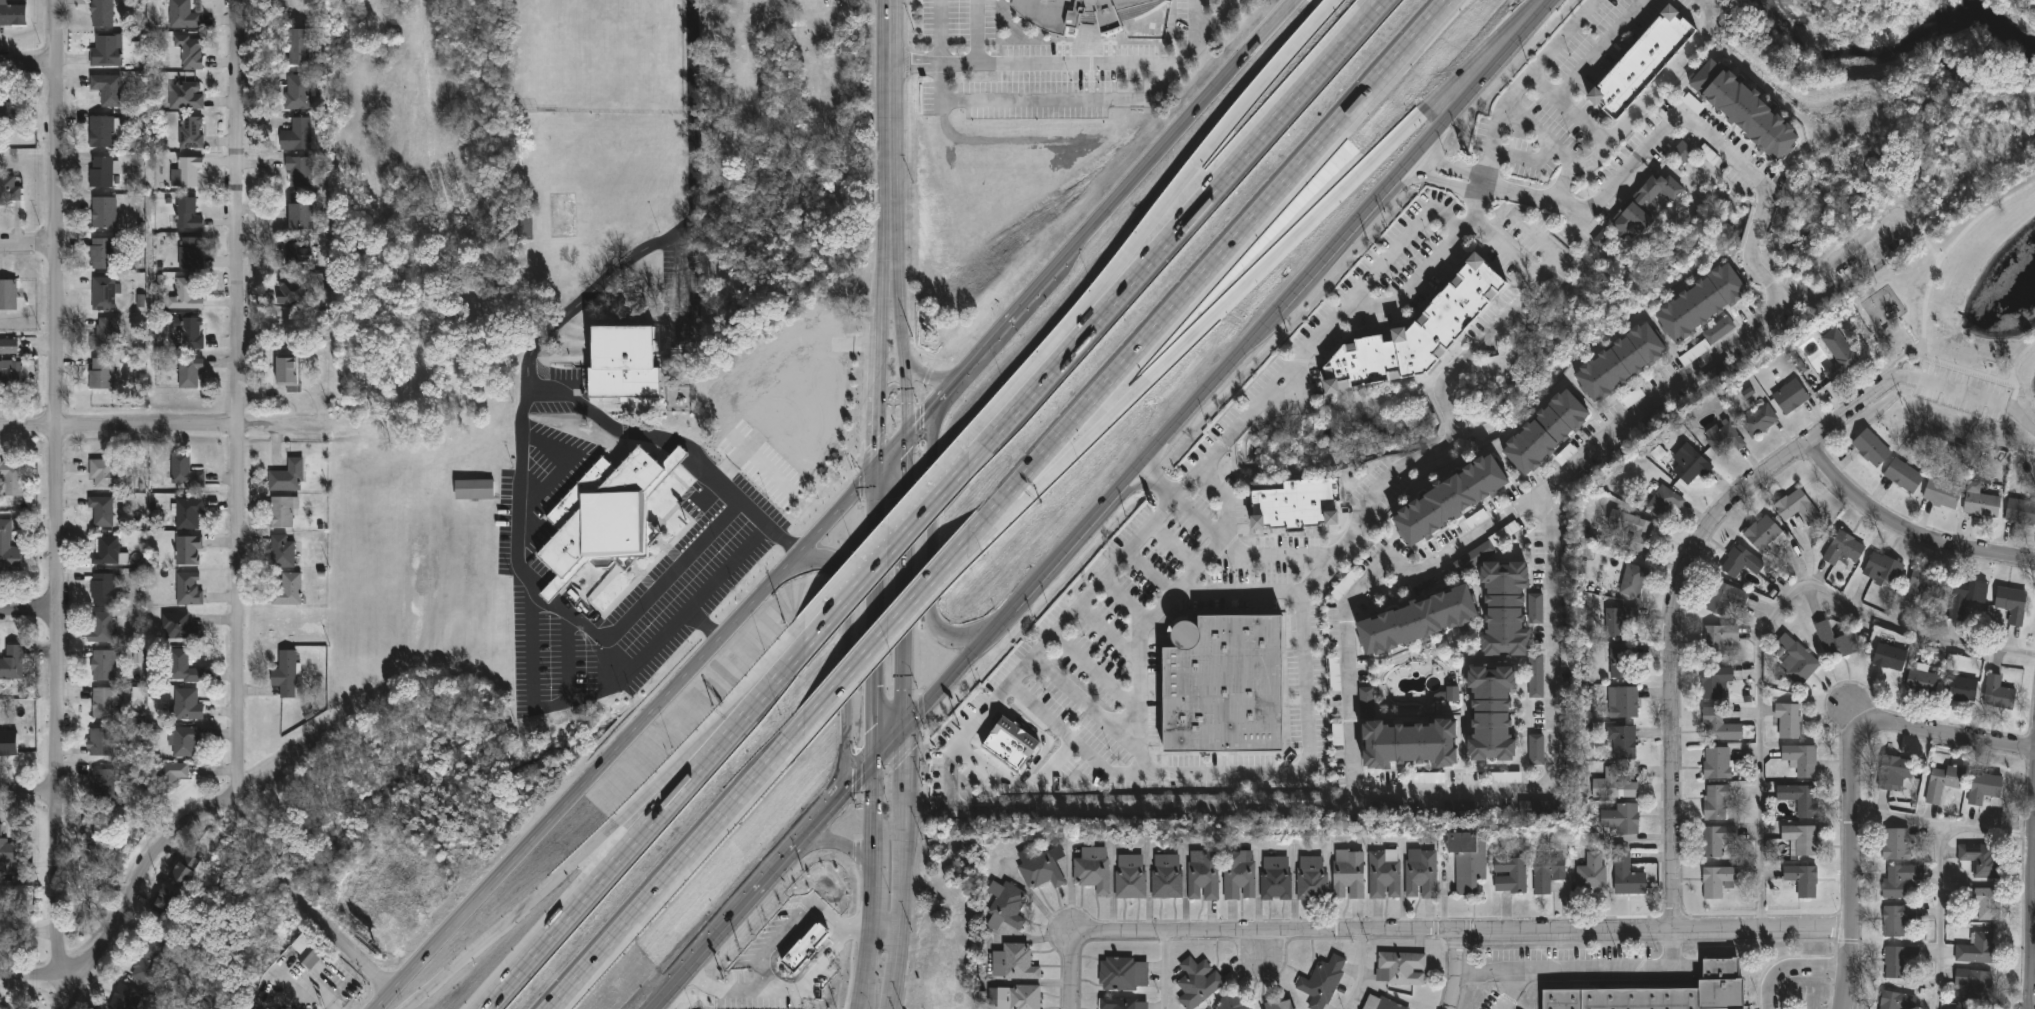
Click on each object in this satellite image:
building: (1082, 13)
building: (101, 14)
building: (12, 16)
building: (182, 16)
road: (1217, 21)
road: (939, 32)
road: (976, 32)
building: (299, 48)
road: (1601, 49)
building: (106, 52)
building: (189, 52)
road: (27, 63)
building: (1641, 63)
road: (1069, 65)
road: (1484, 76)
road: (1525, 82)
building: (107, 90)
building: (297, 93)
building: (185, 95)
road: (1049, 100)
road: (1647, 106)
road: (1573, 110)
building: (1743, 111)
building: (10, 114)
road: (1179, 124)
building: (101, 133)
building: (191, 134)
road: (1711, 135)
building: (296, 136)
road: (888, 136)
road: (1542, 138)
building: (1682, 152)
road: (1526, 159)
building: (188, 172)
building: (103, 173)
building: (299, 174)
building: (9, 191)
road: (1532, 195)
road: (1168, 199)
road: (1197, 204)
building: (1643, 206)
building: (103, 214)
building: (187, 215)
building: (300, 218)
road: (1766, 225)
road: (1756, 226)
road: (1917, 228)
building: (523, 229)
road: (1344, 231)
building: (1601, 238)
road: (28, 244)
road: (1838, 245)
park: (1797, 246)
road: (1931, 248)
building: (190, 254)
building: (300, 254)
building: (101, 255)
road: (1204, 268)
road: (1261, 271)
road: (1585, 274)
road: (1419, 278)
road: (1034, 291)
building: (293, 292)
building: (104, 294)
building: (8, 296)
building: (184, 297)
building: (1700, 305)
road: (1923, 320)
building: (1718, 330)
building: (189, 333)
building: (1416, 334)
building: (105, 335)
building: (9, 347)
road: (906, 351)
building: (1837, 353)
road: (980, 354)
road: (2015, 358)
road: (1897, 359)
building: (622, 364)
building: (1619, 365)
road: (879, 369)
building: (286, 373)
road: (928, 374)
building: (1719, 374)
building: (101, 375)
building: (189, 375)
building: (11, 377)
road: (1941, 383)
road: (1207, 387)
parking lot: (1963, 390)
road: (788, 392)
building: (1789, 396)
road: (236, 399)
road: (526, 399)
road: (935, 404)
road: (2008, 404)
building: (1758, 420)
road: (172, 427)
traffic signals: (909, 431)
building: (1545, 433)
road: (990, 435)
road: (680, 439)
building: (1723, 439)
building: (1870, 447)
road: (892, 449)
road: (1419, 456)
building: (1690, 466)
traffic signals: (875, 467)
road: (1262, 469)
road: (1570, 469)
building: (185, 474)
building: (1902, 474)
building: (103, 475)
building: (288, 478)
building: (11, 480)
road: (1183, 484)
road: (56, 486)
building: (474, 490)
building: (1941, 493)
building: (1448, 499)
building: (1663, 499)
building: (1979, 501)
road: (929, 504)
building: (1294, 504)
building: (1796, 506)
building: (2020, 508)
building: (101, 512)
building: (283, 513)
building: (605, 514)
building: (188, 515)
building: (1632, 527)
road: (931, 528)
building: (1762, 532)
road: (1900, 535)
road: (1074, 536)
road: (1174, 542)
building: (1842, 547)
building: (188, 551)
building: (106, 553)
building: (282, 553)
building: (1474, 557)
building: (10, 559)
building: (1739, 560)
building: (1882, 567)
road: (1148, 571)
road: (930, 575)
road: (909, 578)
building: (1631, 579)
road: (859, 583)
building: (1922, 583)
road: (1359, 586)
building: (106, 590)
building: (188, 590)
building: (288, 591)
road: (1236, 591)
building: (1964, 595)
road: (1125, 597)
building: (1724, 598)
road: (1160, 603)
building: (2010, 603)
road: (28, 607)
building: (1534, 607)
building: (1504, 609)
road: (875, 613)
road: (1673, 615)
building: (1415, 620)
building: (1619, 621)
road: (703, 624)
building: (179, 627)
building: (101, 628)
road: (1759, 629)
road: (1108, 631)
building: (1716, 637)
building: (1833, 640)
road: (863, 650)
building: (1566, 650)
building: (1888, 655)
road: (567, 656)
road: (619, 656)
road: (844, 657)
building: (1795, 659)
building: (1620, 661)
building: (12, 663)
building: (103, 666)
road: (958, 667)
building: (182, 668)
road: (1097, 668)
building: (284, 674)
road: (780, 674)
building: (1335, 674)
building: (1535, 676)
building: (1713, 680)
building: (1921, 680)
road: (618, 683)
building: (1230, 686)
building: (1960, 687)
building: (1996, 692)
building: (1452, 694)
road: (1083, 699)
building: (1623, 702)
building: (103, 704)
building: (186, 705)
building: (1491, 713)
building: (1787, 718)
building: (1717, 724)
traffic signals: (910, 726)
building: (1337, 734)
road: (626, 738)
building: (1404, 739)
building: (1622, 741)
building: (100, 742)
road: (892, 742)
building: (184, 743)
building: (8, 744)
building: (1009, 748)
building: (1536, 750)
building: (1799, 757)
traffic signals: (875, 760)
building: (1715, 762)
road: (907, 767)
road: (866, 770)
building: (1893, 771)
road: (1252, 772)
building: (169, 775)
building: (1507, 777)
building: (1940, 781)
road: (1855, 784)
building: (102, 785)
road: (1017, 785)
building: (1611, 785)
road: (26, 786)
building: (1983, 786)
building: (1799, 797)
building: (1715, 801)
road: (1265, 802)
road: (928, 807)
road: (963, 807)
building: (1540, 810)
road: (876, 818)
building: (1619, 818)
road: (1944, 823)
building: (0, 830)
building: (99, 837)
building: (1714, 838)
building: (1800, 838)
building: (1896, 842)
road: (842, 845)
road: (691, 847)
building: (9, 853)
building: (1980, 858)
building: (1466, 859)
building: (1040, 866)
road: (610, 867)
building: (1092, 868)
building: (182, 869)
building: (1545, 870)
road: (571, 871)
building: (1591, 871)
building: (1347, 872)
building: (1382, 872)
building: (1420, 872)
building: (1237, 873)
building: (1202, 874)
building: (1509, 874)
building: (1625, 874)
building: (1129, 875)
building: (1165, 875)
building: (1274, 876)
building: (1310, 876)
road: (144, 877)
building: (1801, 878)
building: (1716, 879)
building: (1901, 879)
road: (754, 893)
building: (1984, 900)
road: (2033, 901)
building: (165, 903)
building: (1007, 905)
road: (298, 906)
road: (874, 906)
road: (899, 908)
road: (1940, 915)
road: (830, 917)
building: (1898, 917)
building: (13, 929)
road: (857, 933)
road: (1476, 933)
road: (885, 935)
building: (806, 948)
building: (1976, 948)
building: (305, 952)
building: (148, 960)
building: (1897, 960)
building: (1012, 961)
road: (1067, 962)
road: (1807, 964)
road: (1582, 966)
building: (1399, 967)
road: (1487, 968)
road: (1453, 971)
road: (867, 972)
road: (1163, 972)
building: (1122, 973)
road: (1359, 973)
road: (31, 977)
building: (1321, 980)
building: (1196, 982)
building: (1974, 984)
road: (62, 990)
road: (722, 993)
building: (1660, 993)
road: (1767, 993)
building: (122, 997)
building: (1017, 997)
building: (1895, 1000)
building: (1232, 1001)
building: (1121, 1003)
building: (1278, 1003)
building: (1380, 1003)

